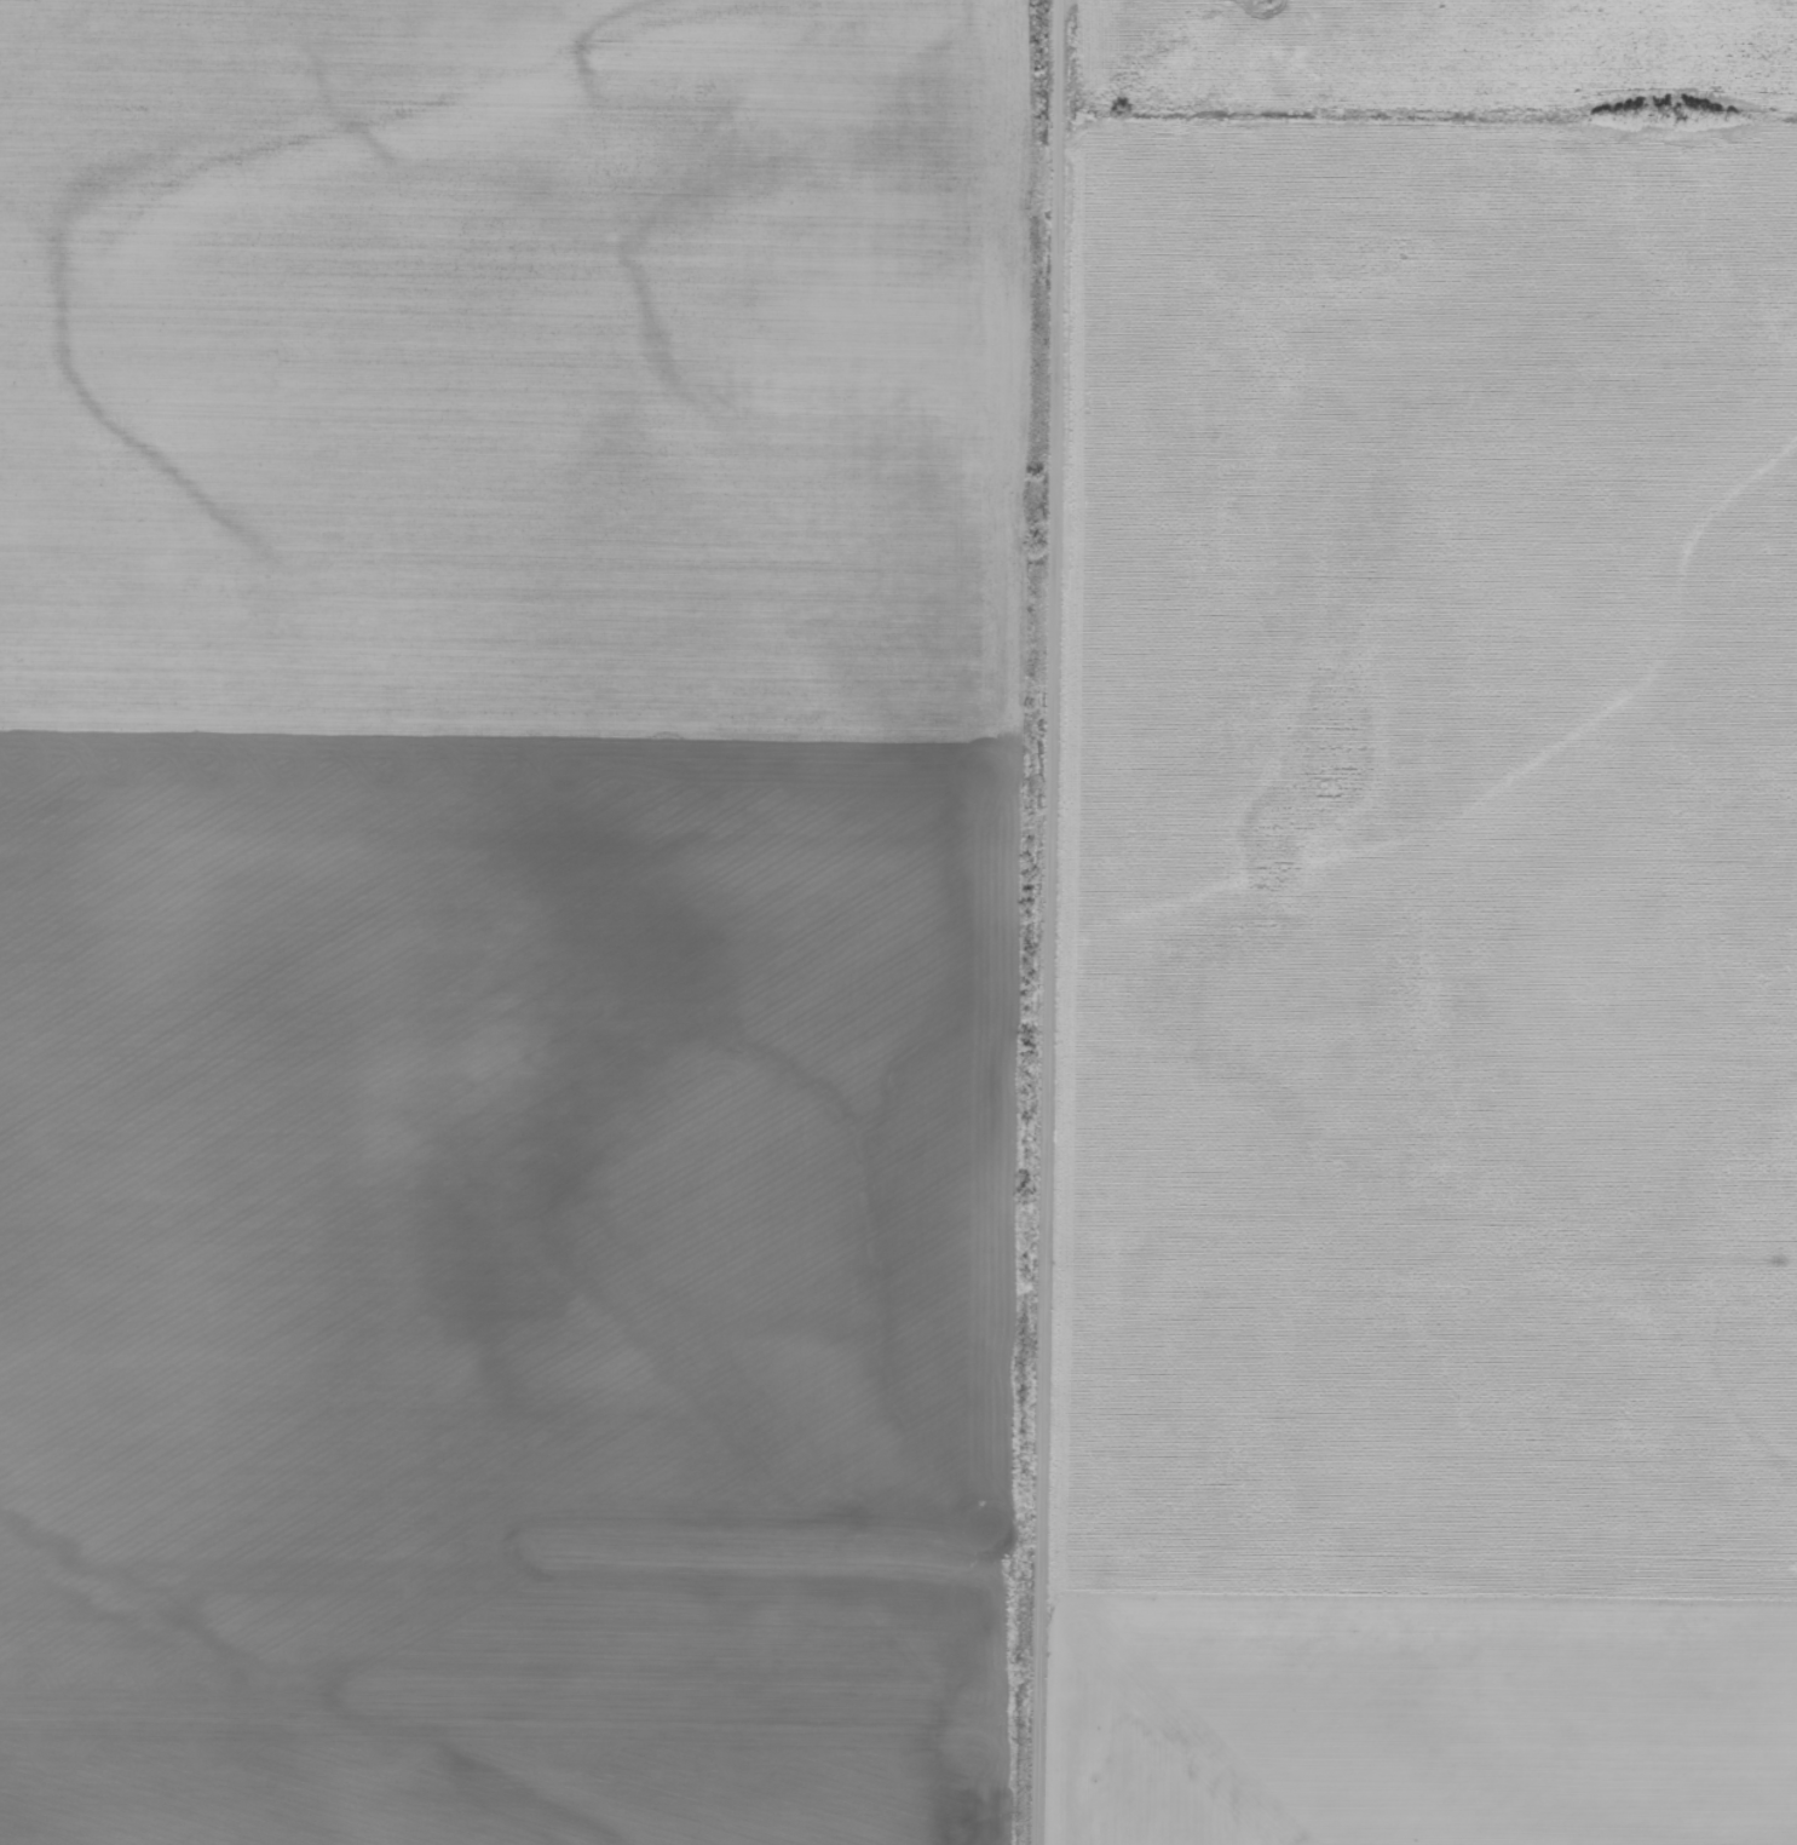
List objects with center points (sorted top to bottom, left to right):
road: (1053, 922)

